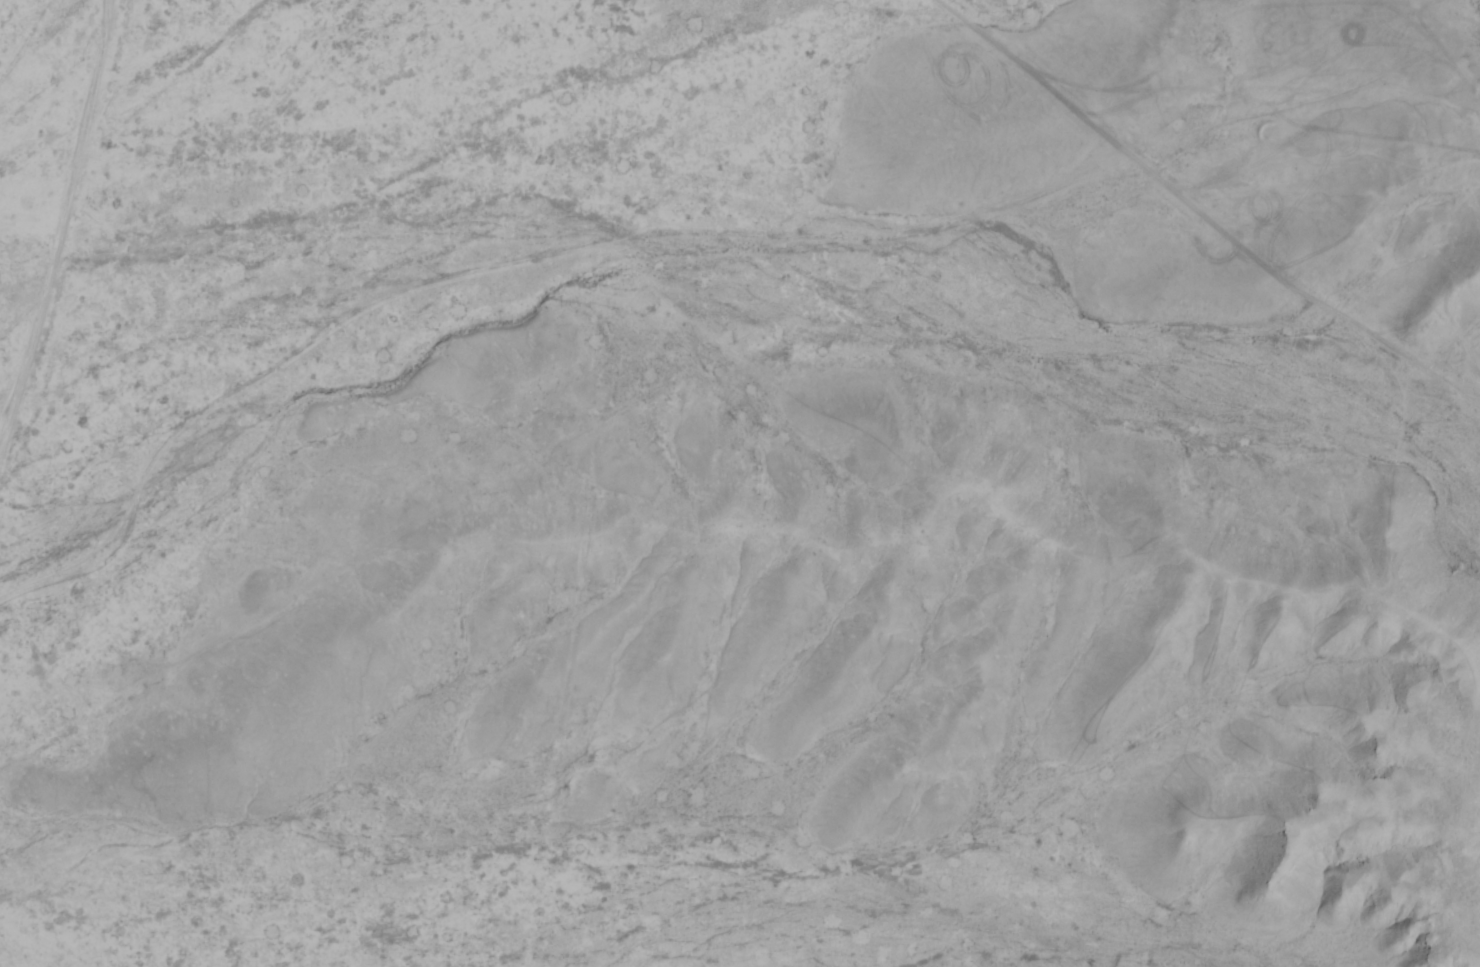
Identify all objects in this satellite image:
road: (141, 253)

